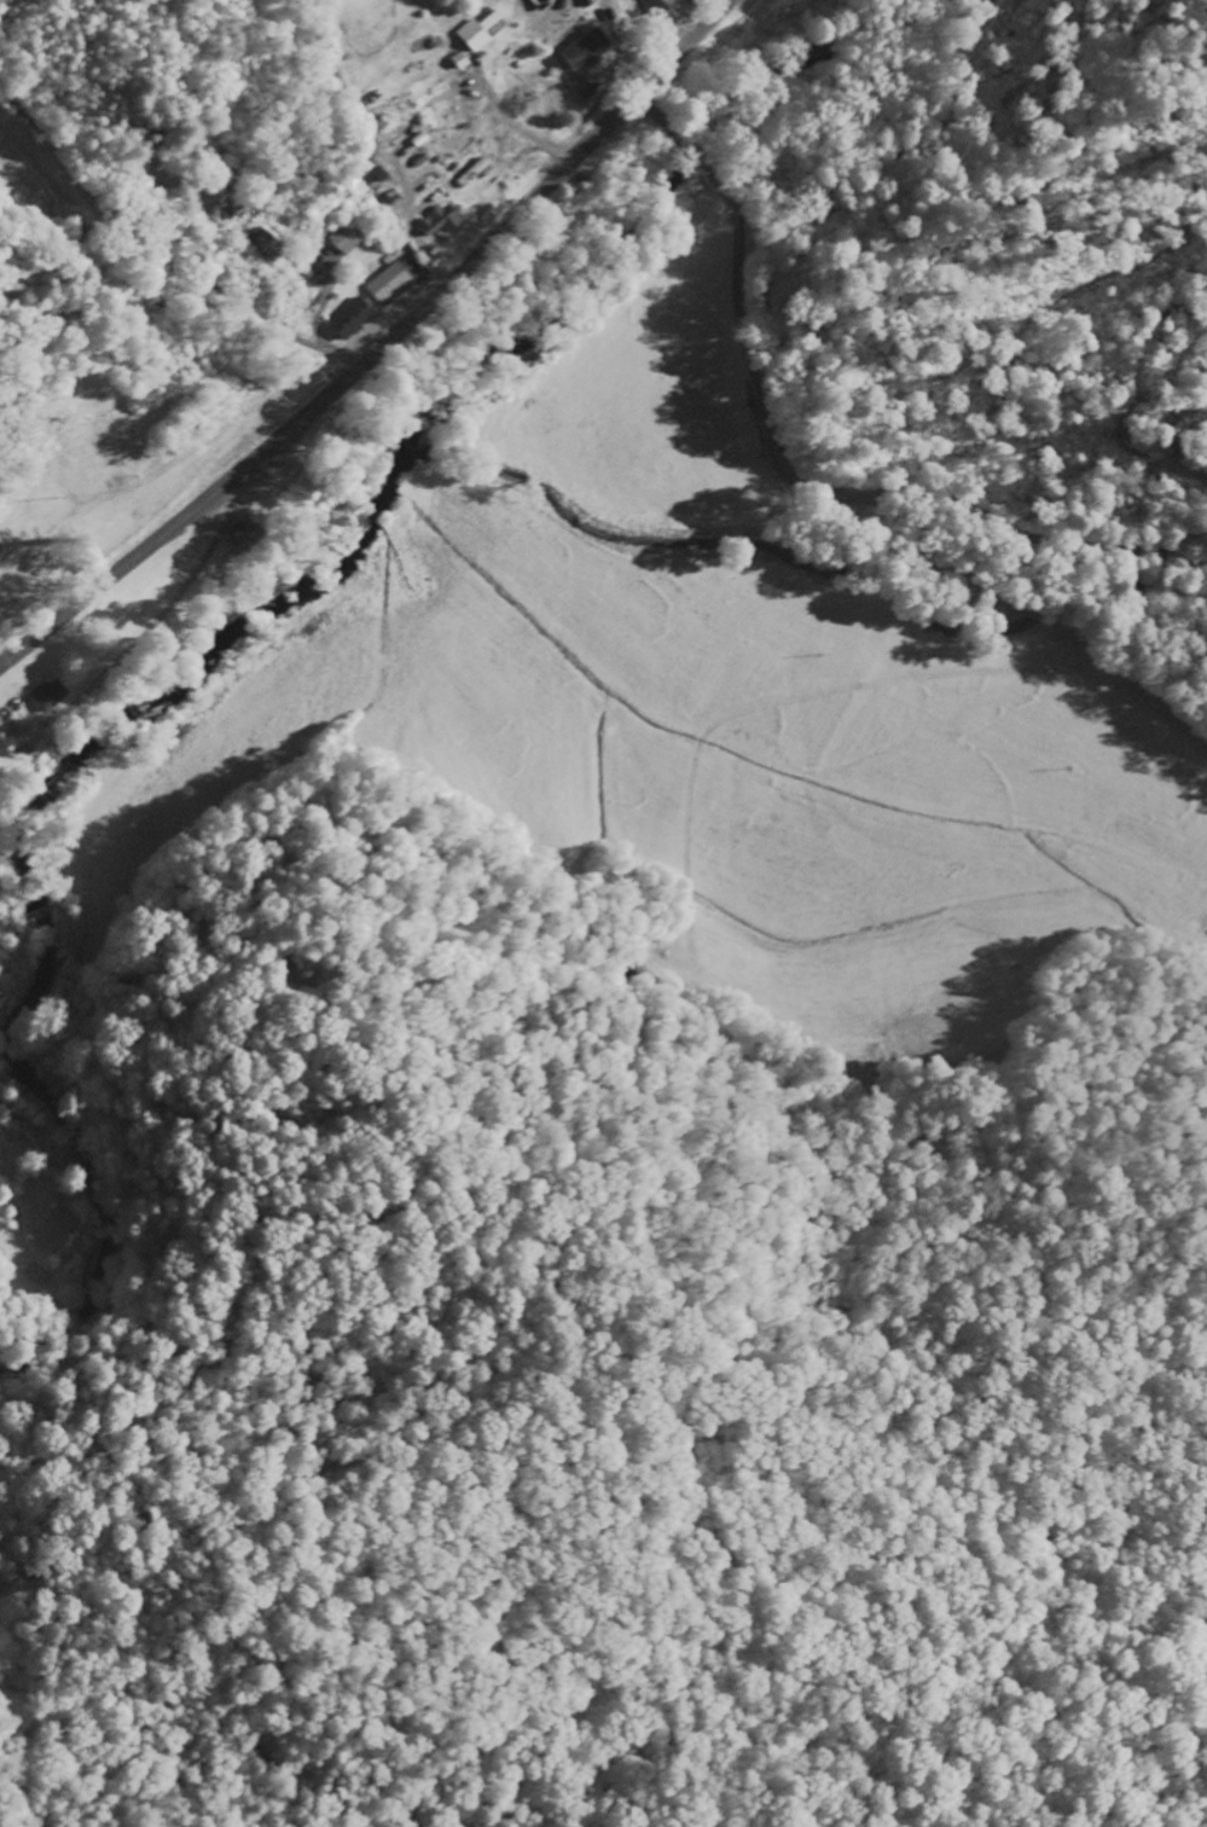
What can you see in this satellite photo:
building: (578, 2)
building: (669, 6)
road: (654, 8)
building: (470, 30)
road: (671, 34)
building: (574, 50)
building: (433, 220)
building: (343, 239)
road: (159, 256)
building: (384, 284)
building: (343, 319)
road: (377, 348)
road: (192, 349)
road: (759, 393)
building: (245, 535)
road: (1029, 540)
building: (48, 692)
road: (708, 1230)
road: (329, 1330)

